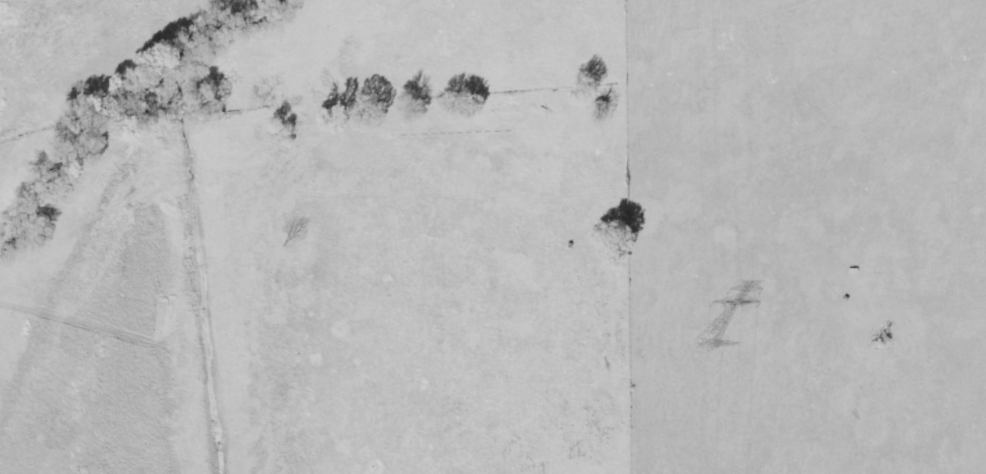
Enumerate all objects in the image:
power tower: (705, 342)

